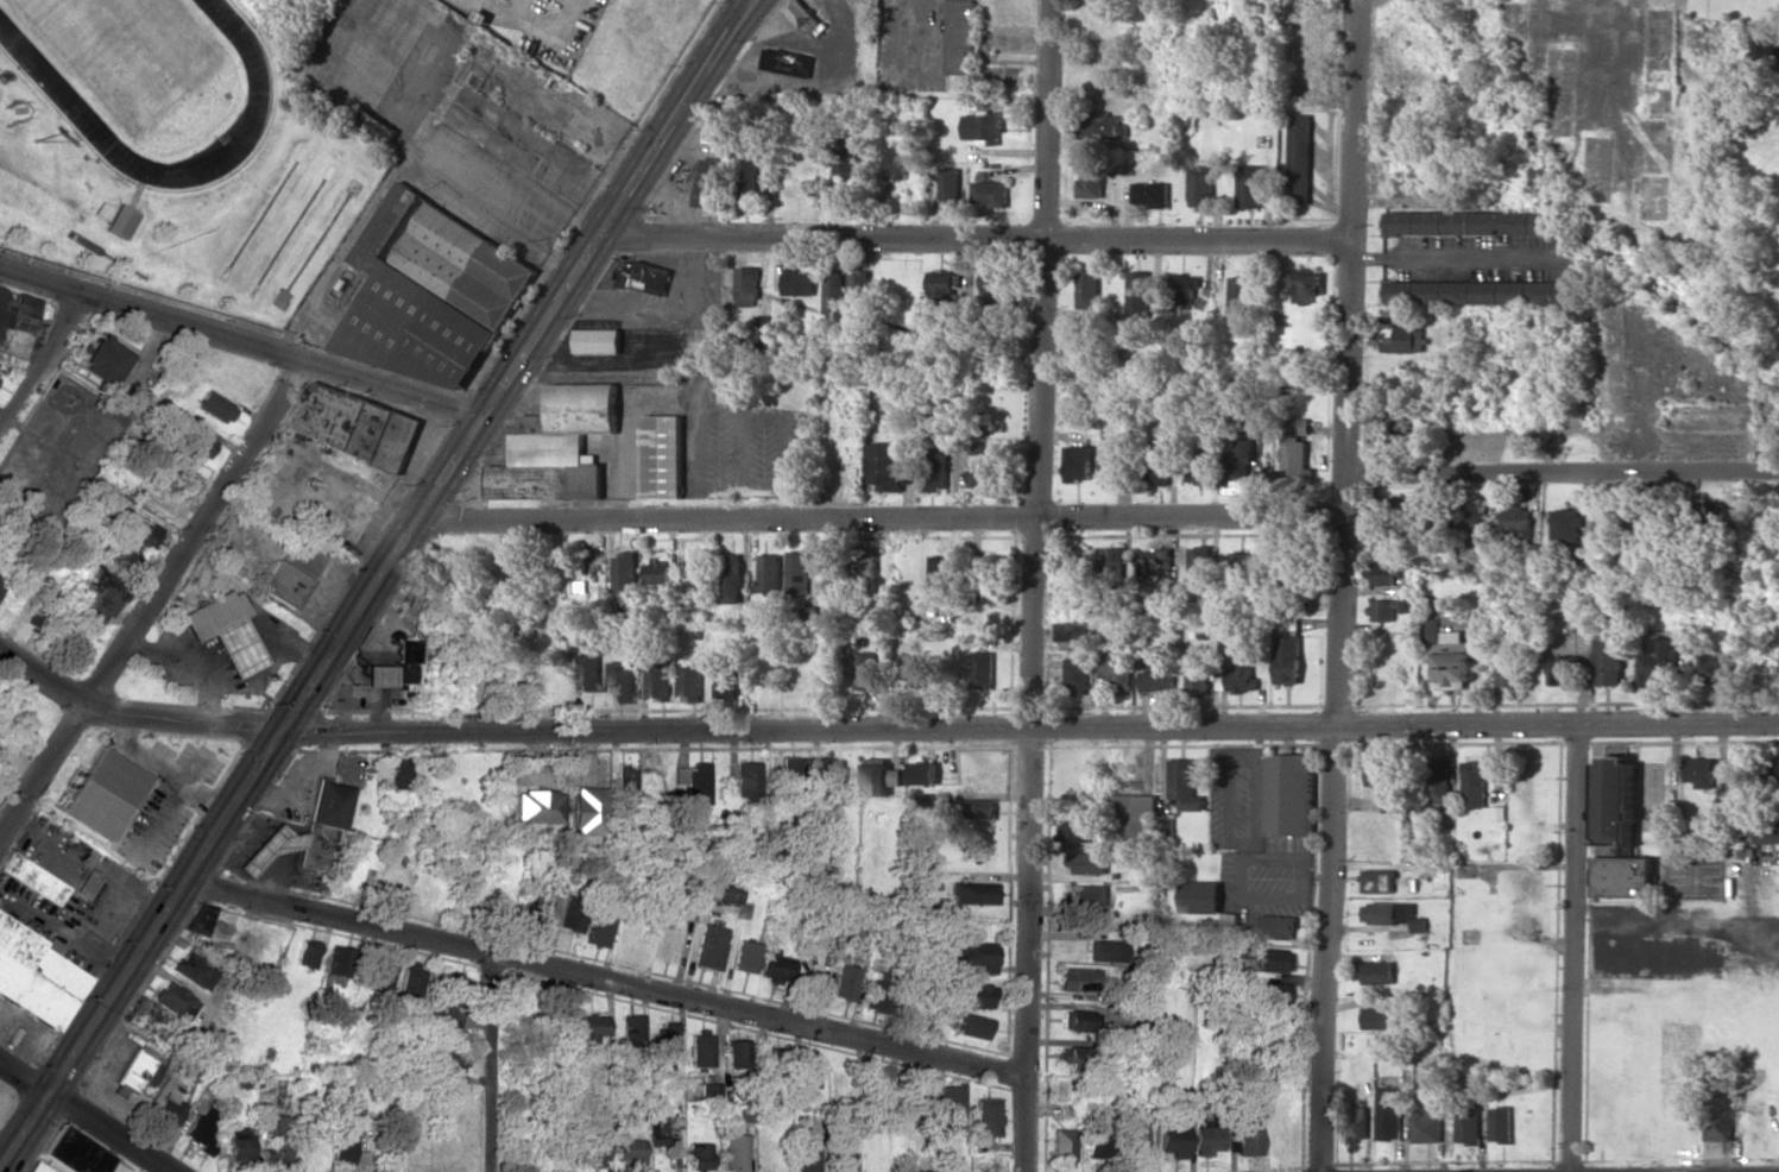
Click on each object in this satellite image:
road: (750, 1)
road: (751, 1)
traffic signals: (751, 2)
road: (518, 10)
building: (802, 15)
parking lot: (557, 25)
road: (536, 30)
building: (961, 37)
park: (128, 52)
building: (1766, 56)
building: (787, 62)
track: (65, 99)
building: (374, 125)
building: (984, 127)
building: (1103, 127)
building: (846, 156)
building: (1298, 158)
building: (895, 163)
building: (745, 179)
building: (1090, 181)
building: (706, 182)
building: (948, 185)
building: (1249, 187)
building: (1199, 188)
building: (990, 194)
building: (1152, 194)
road: (614, 203)
building: (120, 221)
building: (1442, 223)
building: (1527, 223)
road: (972, 237)
road: (1455, 254)
building: (641, 278)
building: (796, 283)
building: (745, 286)
building: (857, 286)
building: (992, 286)
building: (1306, 286)
building: (1086, 290)
building: (427, 292)
building: (832, 292)
building: (1478, 292)
building: (1137, 294)
building: (1186, 294)
building: (1239, 295)
building: (14, 322)
building: (761, 329)
building: (1399, 338)
building: (595, 341)
road: (241, 342)
building: (102, 360)
road: (43, 363)
building: (215, 407)
building: (354, 424)
building: (1398, 433)
building: (194, 441)
building: (556, 446)
building: (661, 456)
building: (1293, 458)
building: (1199, 462)
building: (1077, 464)
building: (1109, 465)
building: (884, 467)
building: (934, 467)
building: (1236, 467)
building: (1156, 471)
road: (1560, 472)
building: (980, 475)
building: (1390, 508)
road: (877, 516)
building: (1515, 519)
building: (1475, 524)
building: (1564, 527)
building: (144, 534)
building: (1381, 542)
building: (1238, 559)
building: (1154, 562)
building: (1200, 563)
building: (1115, 566)
building: (1080, 567)
building: (624, 572)
building: (657, 572)
building: (769, 573)
building: (292, 574)
building: (797, 574)
building: (941, 575)
building: (1382, 575)
building: (992, 578)
building: (1282, 578)
building: (730, 579)
building: (105, 585)
road: (1036, 586)
road: (1339, 586)
road: (152, 599)
building: (1384, 610)
building: (34, 617)
building: (223, 631)
building: (1077, 632)
building: (1446, 656)
building: (1287, 660)
building: (404, 661)
building: (1607, 662)
building: (1657, 662)
building: (1114, 668)
building: (1504, 669)
building: (1715, 669)
building: (865, 670)
building: (984, 670)
building: (1562, 670)
building: (588, 673)
building: (378, 675)
building: (725, 678)
building: (1156, 679)
building: (1241, 679)
building: (656, 681)
building: (620, 683)
building: (689, 685)
road: (146, 710)
road: (1043, 725)
building: (791, 767)
building: (1701, 771)
building: (1777, 771)
building: (925, 774)
building: (395, 775)
building: (624, 777)
building: (881, 777)
building: (746, 780)
building: (1438, 780)
building: (835, 781)
building: (693, 782)
building: (1474, 782)
building: (1386, 783)
building: (1184, 786)
road: (242, 788)
building: (103, 794)
building: (1288, 795)
building: (535, 807)
building: (969, 808)
building: (583, 811)
building: (1135, 821)
building: (1074, 830)
building: (1165, 830)
building: (304, 833)
building: (1617, 834)
building: (1767, 836)
building: (1736, 849)
building: (1087, 863)
building: (32, 878)
building: (1377, 881)
building: (87, 886)
building: (724, 893)
building: (972, 893)
building: (1089, 895)
building: (1199, 897)
building: (530, 909)
building: (1392, 914)
building: (570, 916)
building: (198, 919)
building: (1229, 921)
building: (599, 926)
building: (1273, 927)
building: (711, 947)
road: (1573, 949)
building: (1105, 951)
building: (307, 953)
building: (976, 954)
building: (746, 957)
building: (1275, 960)
building: (337, 964)
building: (775, 968)
building: (194, 970)
building: (380, 973)
building: (1376, 973)
building: (36, 975)
building: (1077, 979)
road: (601, 981)
building: (845, 982)
building: (409, 983)
building: (881, 991)
building: (1272, 994)
building: (976, 996)
building: (170, 997)
building: (1376, 1017)
building: (556, 1019)
building: (1075, 1021)
building: (970, 1026)
building: (593, 1027)
building: (632, 1028)
building: (668, 1038)
building: (701, 1048)
building: (738, 1053)
building: (1067, 1056)
road: (493, 1065)
building: (772, 1069)
building: (809, 1073)
building: (711, 1091)
building: (952, 1107)
building: (166, 1109)
building: (1387, 1113)
road: (87, 1115)
building: (988, 1119)
building: (1354, 1124)
building: (1500, 1124)
building: (1717, 1124)
building: (1466, 1126)
building: (1425, 1127)
building: (657, 1129)
building: (198, 1130)
building: (1247, 1130)
building: (1136, 1138)
building: (1173, 1138)
building: (1094, 1140)
building: (277, 1141)
building: (1206, 1141)
building: (239, 1145)
building: (592, 1145)
building: (1062, 1146)
building: (345, 1148)
building: (631, 1149)
building: (72, 1153)
building: (734, 1153)
building: (699, 1155)
building: (808, 1157)
building: (844, 1158)
building: (37, 1167)

